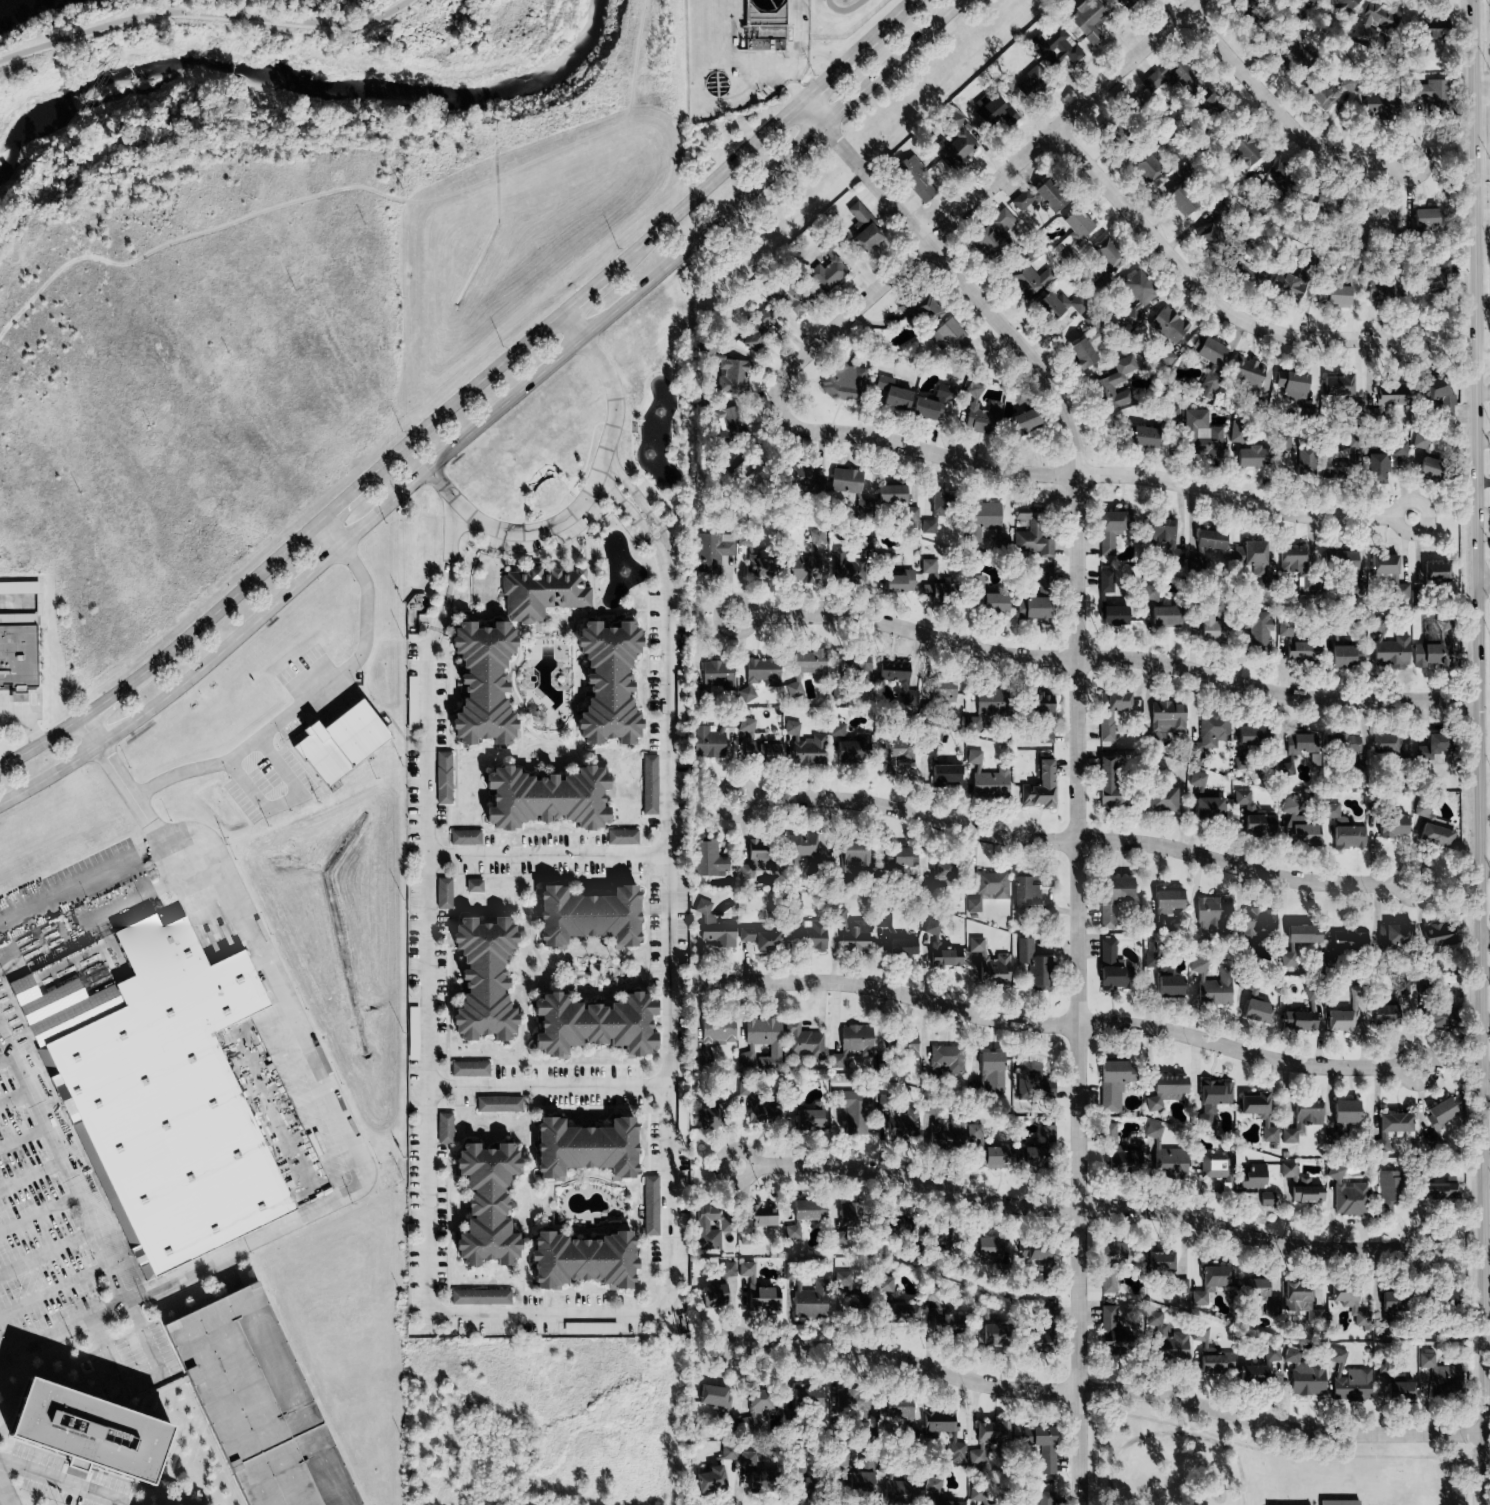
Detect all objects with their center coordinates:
building: (1313, 1)
building: (1122, 4)
road: (202, 15)
park: (841, 20)
building: (1366, 20)
road: (890, 21)
building: (1086, 21)
building: (1432, 29)
park: (258, 38)
building: (1054, 50)
building: (1291, 50)
road: (777, 64)
road: (833, 71)
building: (1163, 79)
river: (318, 84)
building: (1432, 93)
building: (1322, 96)
building: (992, 98)
building: (1204, 102)
building: (1379, 106)
road: (1281, 116)
building: (954, 147)
building: (1244, 157)
building: (1147, 166)
building: (1189, 170)
building: (1277, 173)
building: (912, 178)
road: (707, 183)
building: (1039, 197)
building: (1178, 201)
building: (1326, 201)
road: (1483, 201)
road: (972, 202)
building: (1379, 218)
building: (1423, 218)
building: (1074, 224)
building: (1211, 226)
building: (861, 229)
building: (993, 233)
building: (1104, 253)
building: (1110, 272)
building: (827, 276)
building: (1432, 276)
building: (1291, 277)
building: (1338, 285)
building: (1378, 288)
building: (1040, 289)
road: (587, 290)
road: (1203, 291)
building: (790, 297)
building: (917, 308)
building: (1133, 309)
building: (756, 328)
building: (944, 334)
building: (1205, 348)
building: (1079, 352)
building: (1164, 358)
road: (1483, 360)
building: (1245, 372)
building: (730, 376)
building: (843, 381)
building: (1115, 383)
building: (1336, 383)
building: (1290, 384)
building: (1207, 385)
road: (1483, 390)
building: (1435, 393)
building: (889, 394)
building: (1388, 394)
building: (924, 408)
road: (489, 413)
building: (726, 419)
building: (1021, 421)
building: (1233, 430)
building: (1136, 432)
building: (1200, 435)
building: (1419, 439)
road: (1484, 442)
building: (1254, 456)
building: (1381, 459)
building: (1318, 463)
building: (1428, 468)
building: (796, 472)
road: (1097, 473)
road: (1484, 477)
road: (586, 491)
building: (889, 493)
road: (346, 497)
building: (934, 510)
building: (910, 518)
building: (987, 521)
road: (1484, 524)
building: (1111, 528)
building: (1030, 532)
road: (326, 535)
building: (1162, 539)
building: (862, 543)
building: (711, 551)
building: (804, 560)
building: (1254, 560)
building: (1292, 560)
building: (1342, 561)
building: (755, 564)
building: (1382, 564)
building: (842, 565)
building: (926, 565)
building: (1434, 571)
road: (1484, 579)
building: (898, 580)
building: (1104, 581)
building: (1044, 582)
building: (18, 587)
building: (1402, 591)
building: (541, 592)
building: (1150, 592)
road: (15, 601)
building: (992, 601)
building: (1032, 608)
building: (1116, 614)
building: (1163, 616)
building: (1205, 628)
building: (1259, 630)
building: (1433, 647)
building: (1301, 650)
building: (1337, 652)
building: (1391, 652)
building: (19, 655)
road: (1107, 656)
building: (809, 662)
building: (891, 670)
building: (762, 671)
building: (715, 675)
building: (478, 683)
building: (602, 684)
building: (939, 689)
building: (989, 701)
road: (300, 702)
building: (1038, 702)
road: (107, 703)
road: (32, 711)
building: (1110, 711)
road: (29, 718)
building: (1164, 719)
building: (745, 724)
building: (835, 729)
building: (1212, 729)
building: (1046, 732)
building: (1248, 735)
building: (709, 738)
building: (333, 741)
building: (1382, 742)
building: (1296, 745)
building: (801, 746)
building: (851, 747)
building: (928, 748)
building: (759, 749)
road: (41, 751)
road: (1077, 752)
road: (1479, 752)
building: (892, 754)
building: (943, 774)
building: (442, 778)
building: (985, 779)
road: (120, 781)
building: (1106, 781)
building: (1195, 783)
building: (648, 784)
building: (1038, 787)
building: (540, 796)
building: (1159, 799)
building: (1421, 808)
building: (1207, 809)
building: (1252, 815)
building: (1297, 824)
building: (1391, 825)
building: (1342, 829)
building: (1434, 835)
building: (621, 836)
building: (464, 837)
road: (1075, 839)
road: (546, 854)
building: (852, 857)
building: (706, 859)
building: (898, 859)
building: (754, 863)
road: (1484, 865)
building: (939, 868)
road: (85, 880)
building: (989, 883)
building: (472, 886)
building: (1027, 890)
building: (442, 893)
building: (1112, 899)
building: (972, 905)
building: (1162, 905)
building: (1210, 915)
building: (579, 916)
building: (1256, 920)
building: (712, 926)
building: (851, 932)
building: (807, 934)
building: (1300, 934)
building: (1437, 934)
building: (1392, 935)
road: (1485, 936)
building: (895, 937)
building: (758, 938)
building: (933, 941)
building: (1348, 941)
building: (1106, 951)
building: (1153, 956)
building: (1286, 956)
building: (988, 960)
building: (1032, 964)
building: (1197, 965)
building: (477, 977)
building: (1114, 978)
building: (1168, 985)
building: (1400, 987)
building: (1212, 988)
building: (1354, 991)
building: (1255, 1011)
building: (1382, 1014)
building: (1437, 1018)
building: (1297, 1020)
building: (1340, 1020)
road: (1056, 1022)
building: (589, 1026)
building: (713, 1035)
building: (801, 1041)
building: (851, 1043)
building: (760, 1044)
building: (908, 1045)
road: (8, 1047)
building: (946, 1058)
building: (468, 1068)
road: (315, 1071)
building: (987, 1074)
building: (1032, 1079)
road: (546, 1085)
building: (1109, 1085)
road: (1486, 1088)
building: (1163, 1091)
building: (1214, 1093)
road: (15, 1097)
building: (170, 1102)
building: (1252, 1102)
building: (497, 1104)
building: (852, 1107)
building: (1344, 1111)
building: (710, 1112)
building: (763, 1112)
building: (805, 1118)
building: (1203, 1119)
building: (1301, 1119)
building: (1393, 1122)
building: (1437, 1123)
building: (900, 1127)
building: (443, 1128)
building: (941, 1129)
building: (1152, 1130)
building: (1267, 1131)
building: (1045, 1133)
road: (24, 1136)
building: (1381, 1141)
building: (578, 1146)
building: (1119, 1152)
building: (1024, 1155)
building: (994, 1156)
building: (1169, 1163)
building: (1214, 1165)
road: (1486, 1165)
building: (1287, 1169)
road: (31, 1172)
building: (1251, 1177)
building: (1439, 1188)
building: (1303, 1190)
building: (1388, 1193)
building: (1347, 1194)
building: (1261, 1200)
building: (483, 1202)
building: (649, 1205)
road: (1067, 1206)
road: (40, 1213)
building: (801, 1215)
building: (847, 1215)
building: (758, 1218)
building: (710, 1225)
building: (938, 1238)
road: (1430, 1239)
road: (105, 1243)
building: (981, 1247)
road: (49, 1251)
building: (1114, 1253)
building: (1036, 1256)
building: (578, 1259)
building: (1159, 1262)
road: (191, 1269)
building: (1210, 1282)
building: (1107, 1283)
building: (884, 1284)
building: (845, 1285)
road: (56, 1286)
building: (1179, 1286)
building: (756, 1290)
building: (1258, 1294)
building: (711, 1295)
building: (479, 1297)
building: (810, 1300)
building: (1300, 1301)
building: (1391, 1301)
building: (1350, 1305)
road: (575, 1308)
building: (1043, 1311)
building: (902, 1313)
building: (948, 1324)
building: (1109, 1332)
building: (996, 1334)
building: (1198, 1334)
building: (1165, 1338)
building: (1034, 1342)
building: (1270, 1354)
building: (1335, 1355)
building: (1223, 1363)
building: (1303, 1374)
building: (1250, 1375)
building: (1441, 1377)
road: (144, 1382)
building: (1351, 1386)
building: (1399, 1388)
road: (1111, 1389)
building: (711, 1396)
building: (804, 1398)
building: (763, 1401)
building: (259, 1403)
parking garage: (259, 1403)
building: (891, 1407)
building: (851, 1408)
building: (940, 1420)
building: (993, 1429)
building: (90, 1430)
building: (1043, 1443)
building: (728, 1453)
building: (955, 1453)
building: (745, 1458)
building: (864, 1465)
building: (709, 1479)
building: (850, 1479)
road: (64, 1482)
building: (754, 1484)
building: (800, 1484)
road: (5, 1493)
building: (1044, 1498)
building: (1337, 1503)

